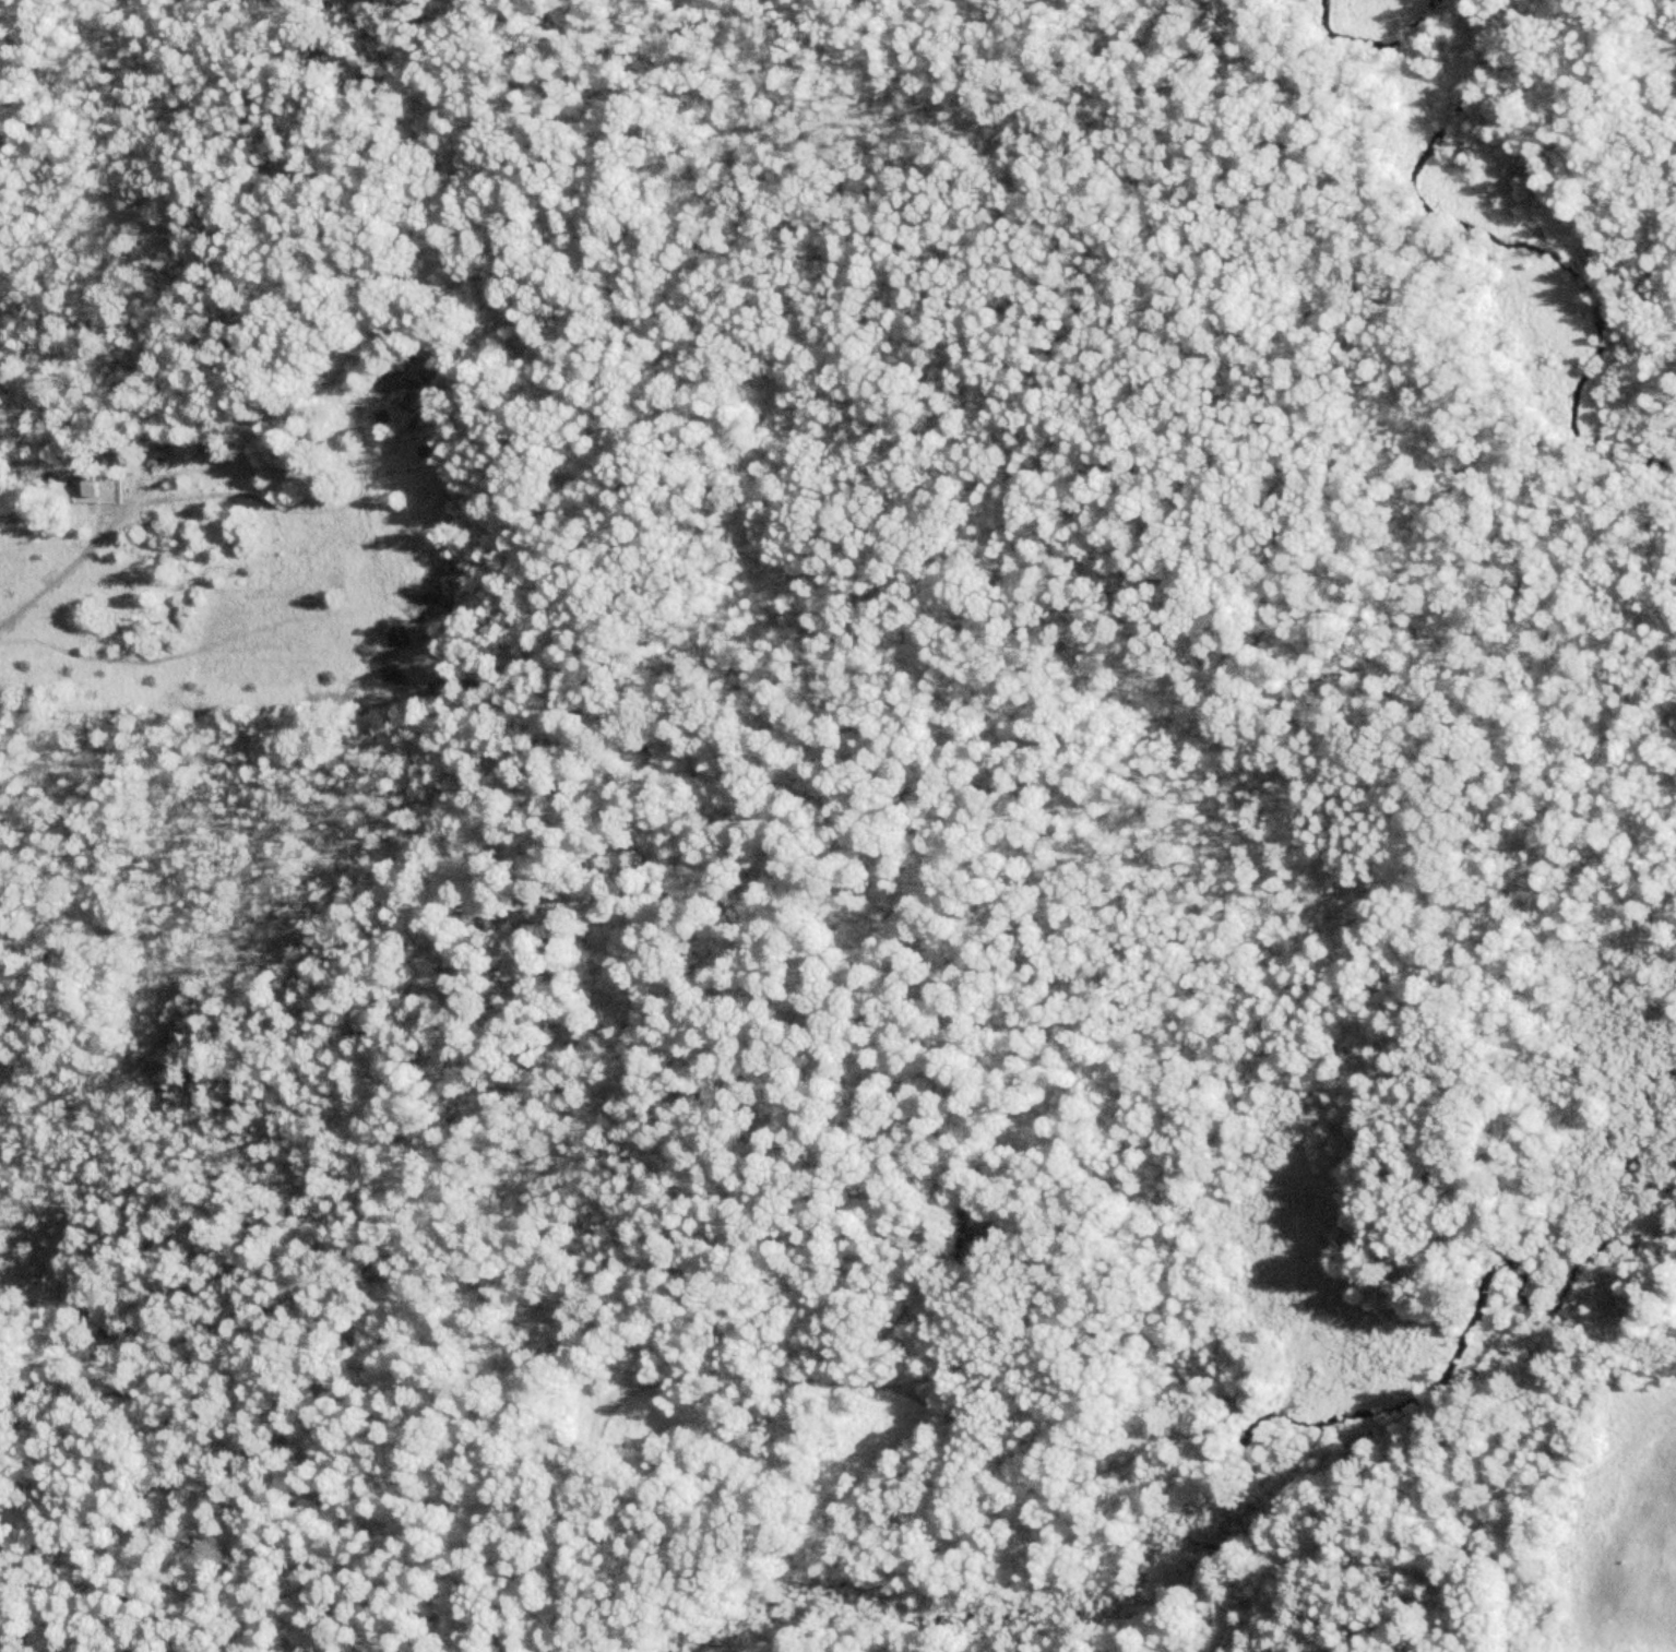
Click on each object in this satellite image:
building: (92, 486)

